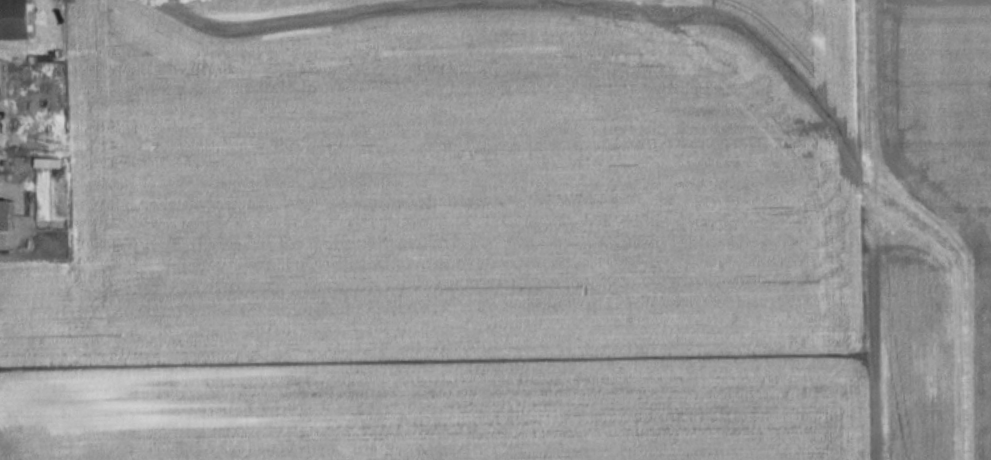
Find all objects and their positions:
building: (18, 19)
building: (3, 79)
building: (47, 163)
building: (9, 216)

